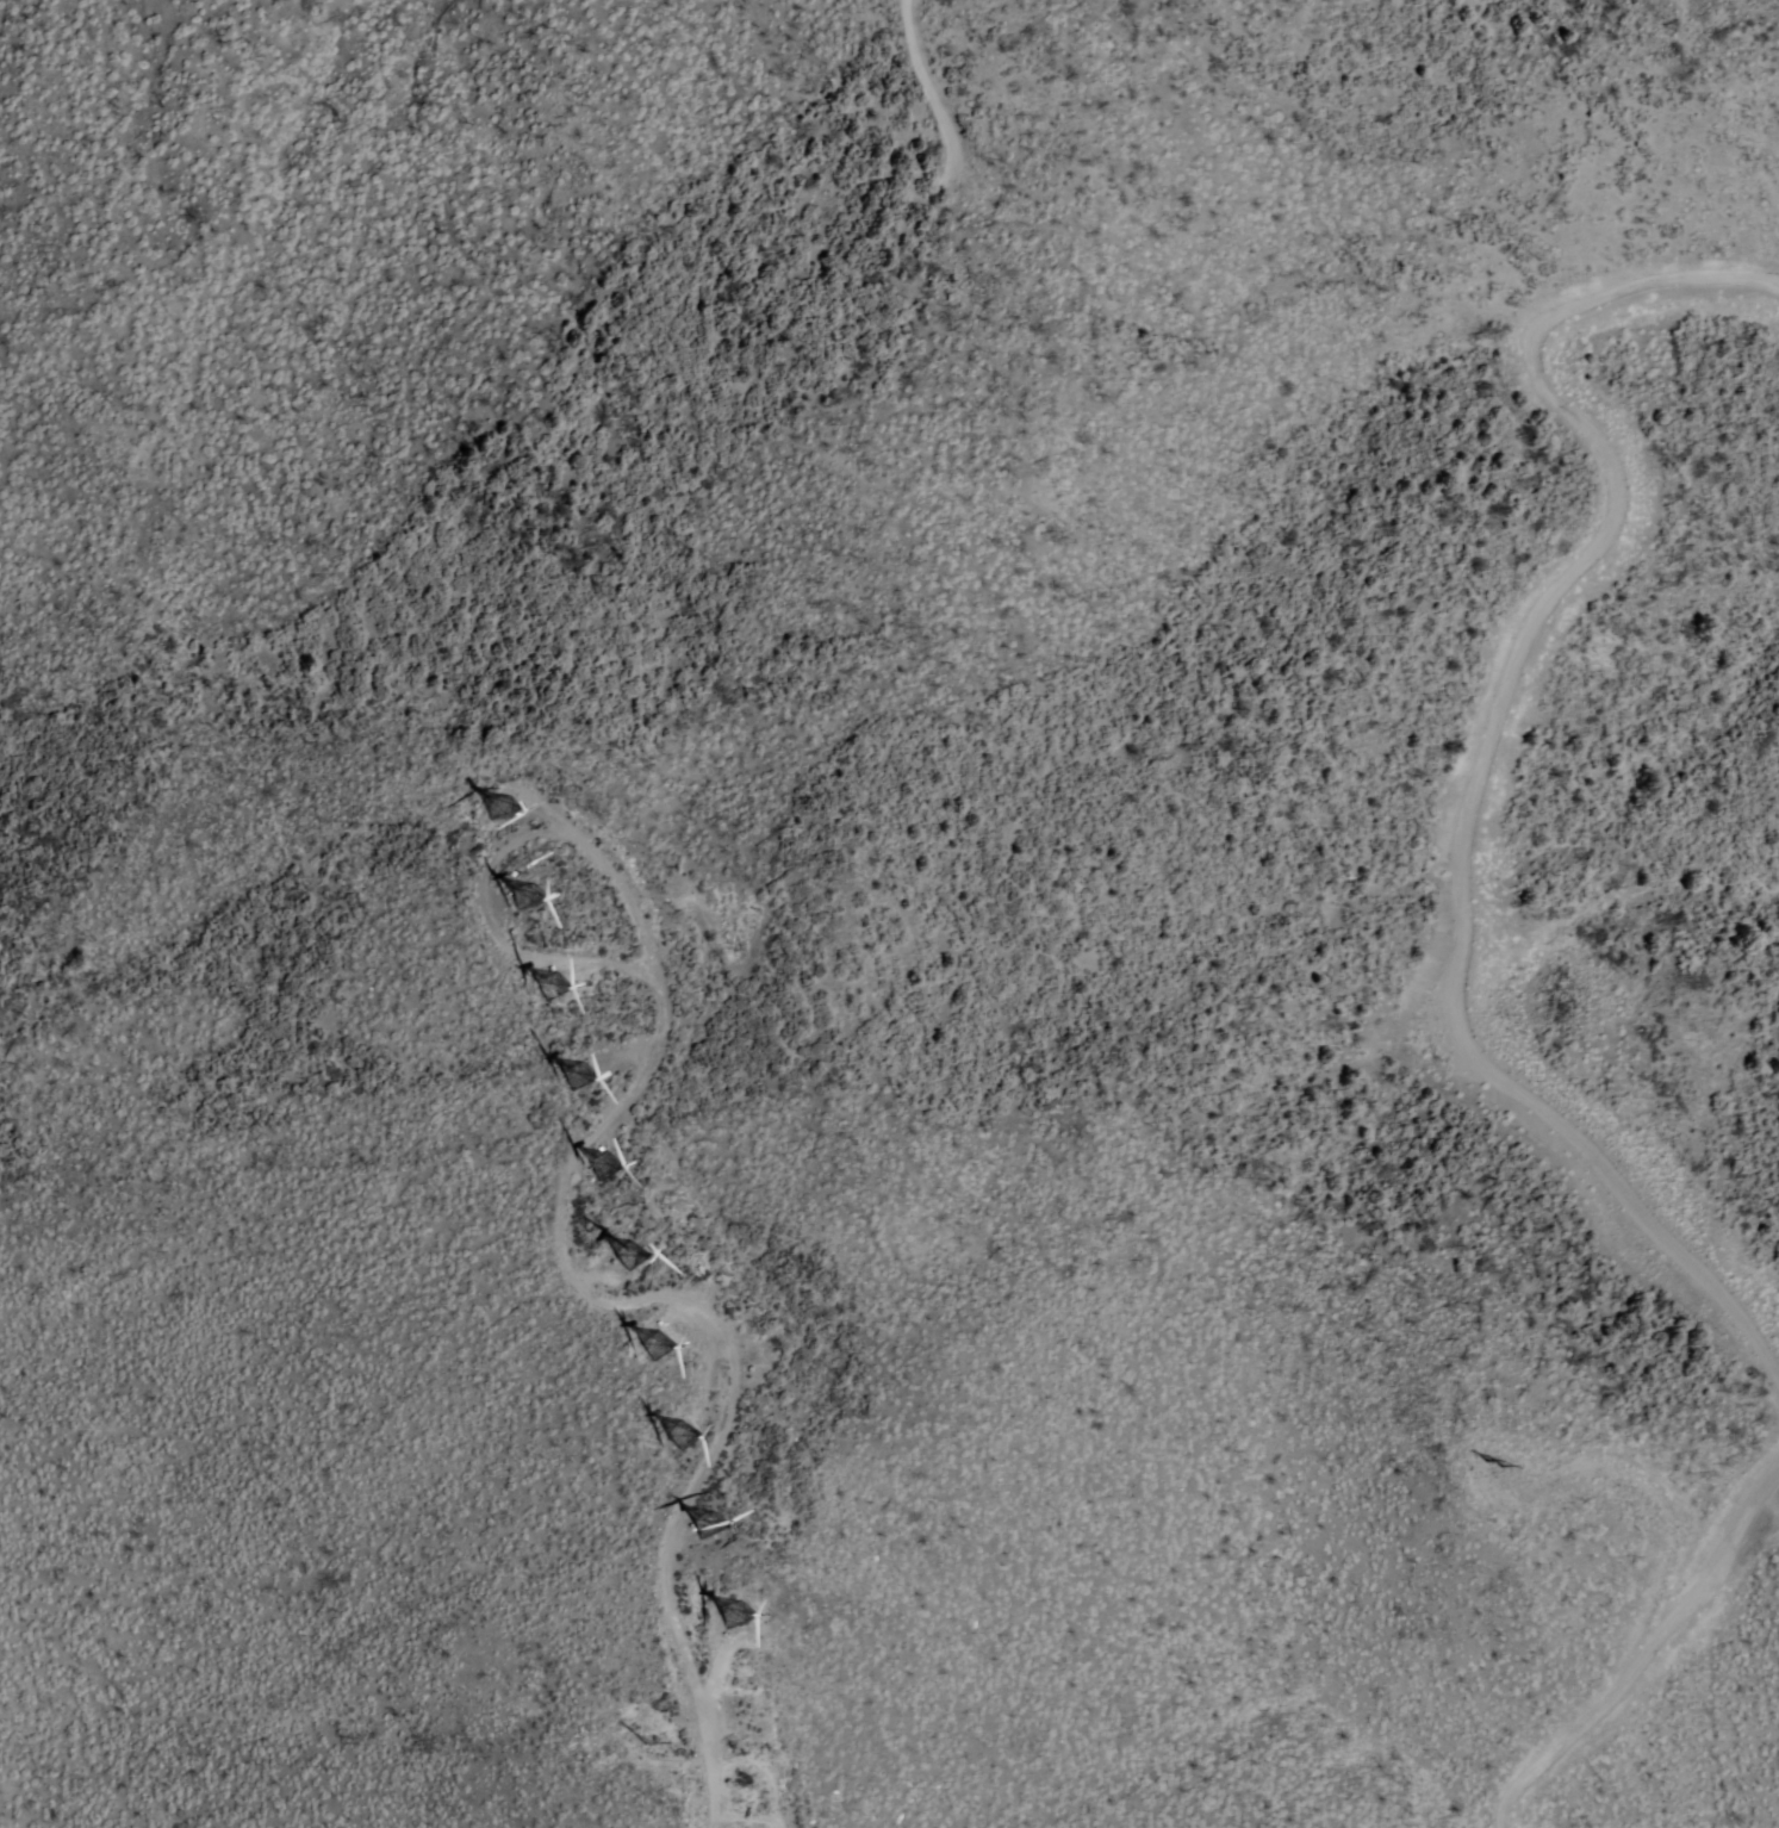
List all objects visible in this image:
wind turbine: (499, 803)
wind turbine: (523, 890)
wind turbine: (554, 984)
wind turbine: (578, 1072)
wind turbine: (604, 1162)
wind turbine: (630, 1256)
road: (667, 1295)
wind turbine: (653, 1345)
wind turbine: (684, 1436)
wind turbine: (711, 1528)
wind turbine: (734, 1612)
road: (1563, 1741)
wind turbine: (738, 1797)

